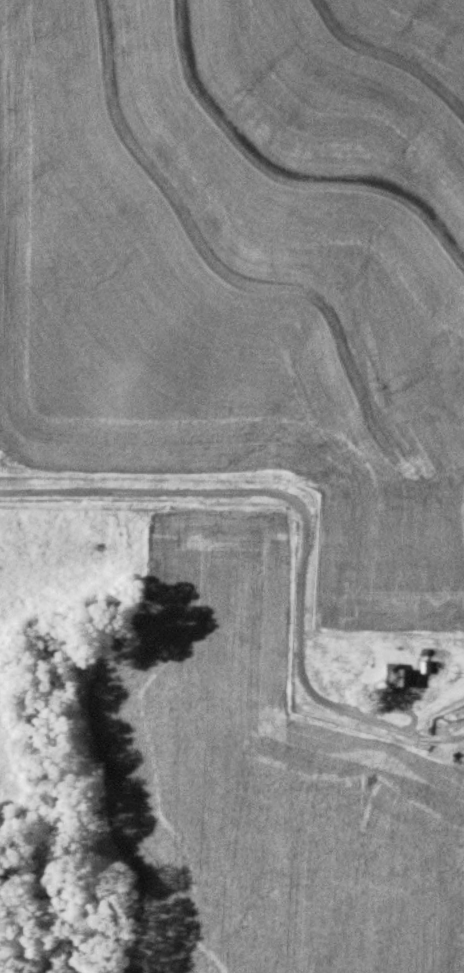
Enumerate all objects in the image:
road: (295, 493)
building: (397, 674)

